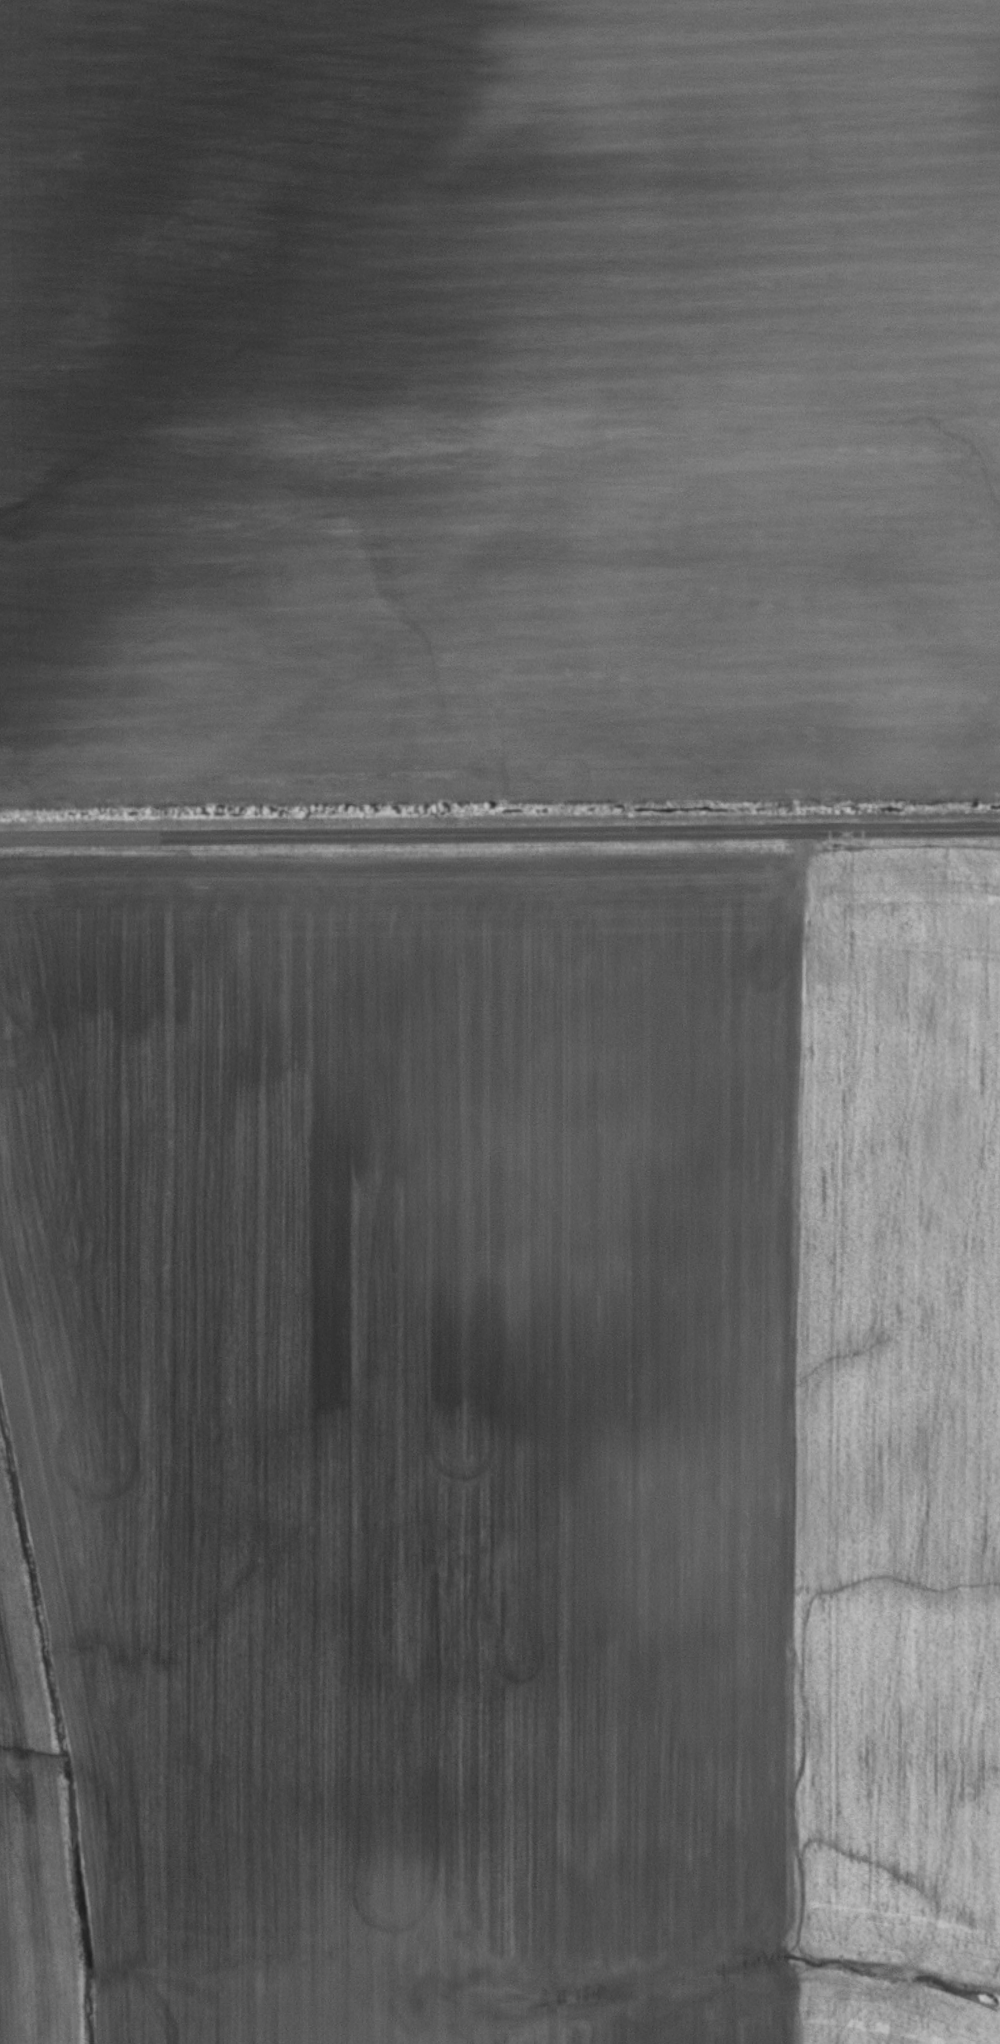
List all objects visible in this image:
road: (500, 837)
road: (57, 1730)

